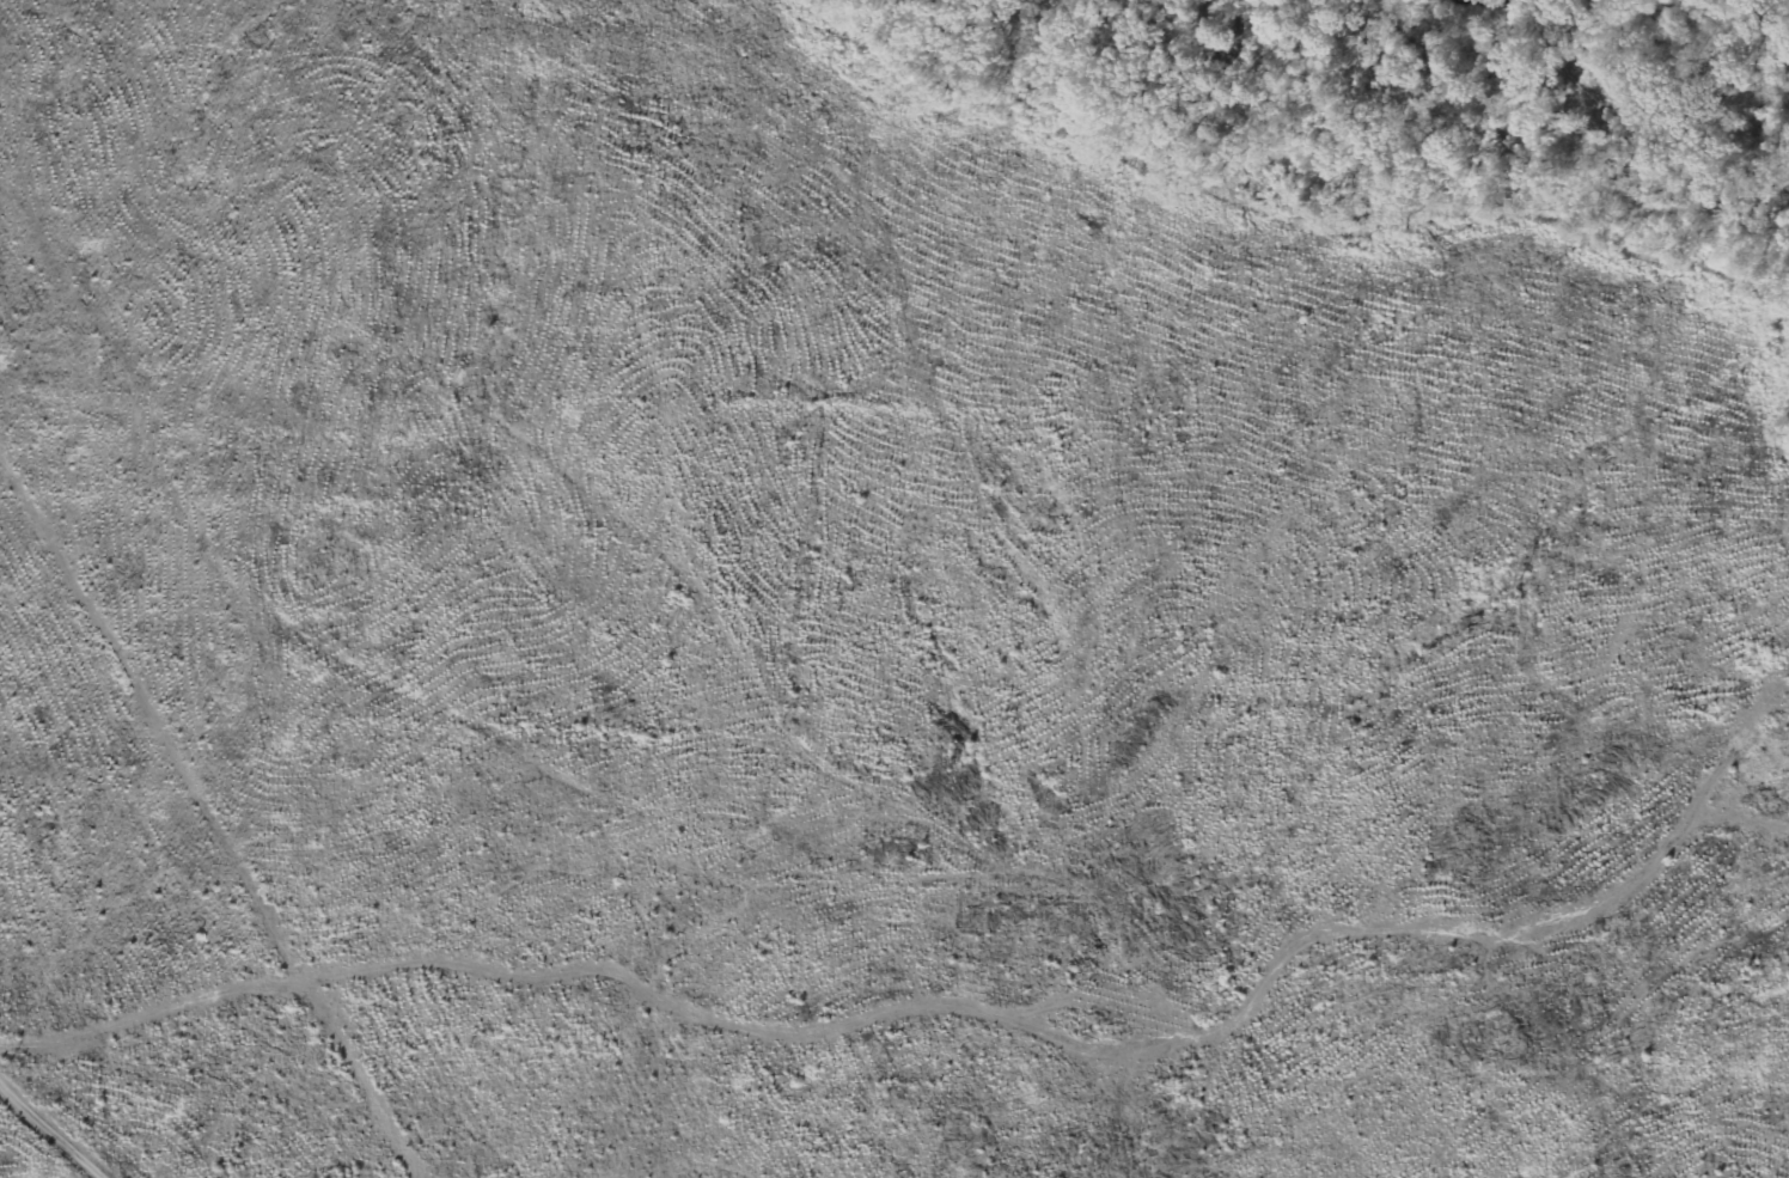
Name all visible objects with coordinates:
road: (51, 1127)

